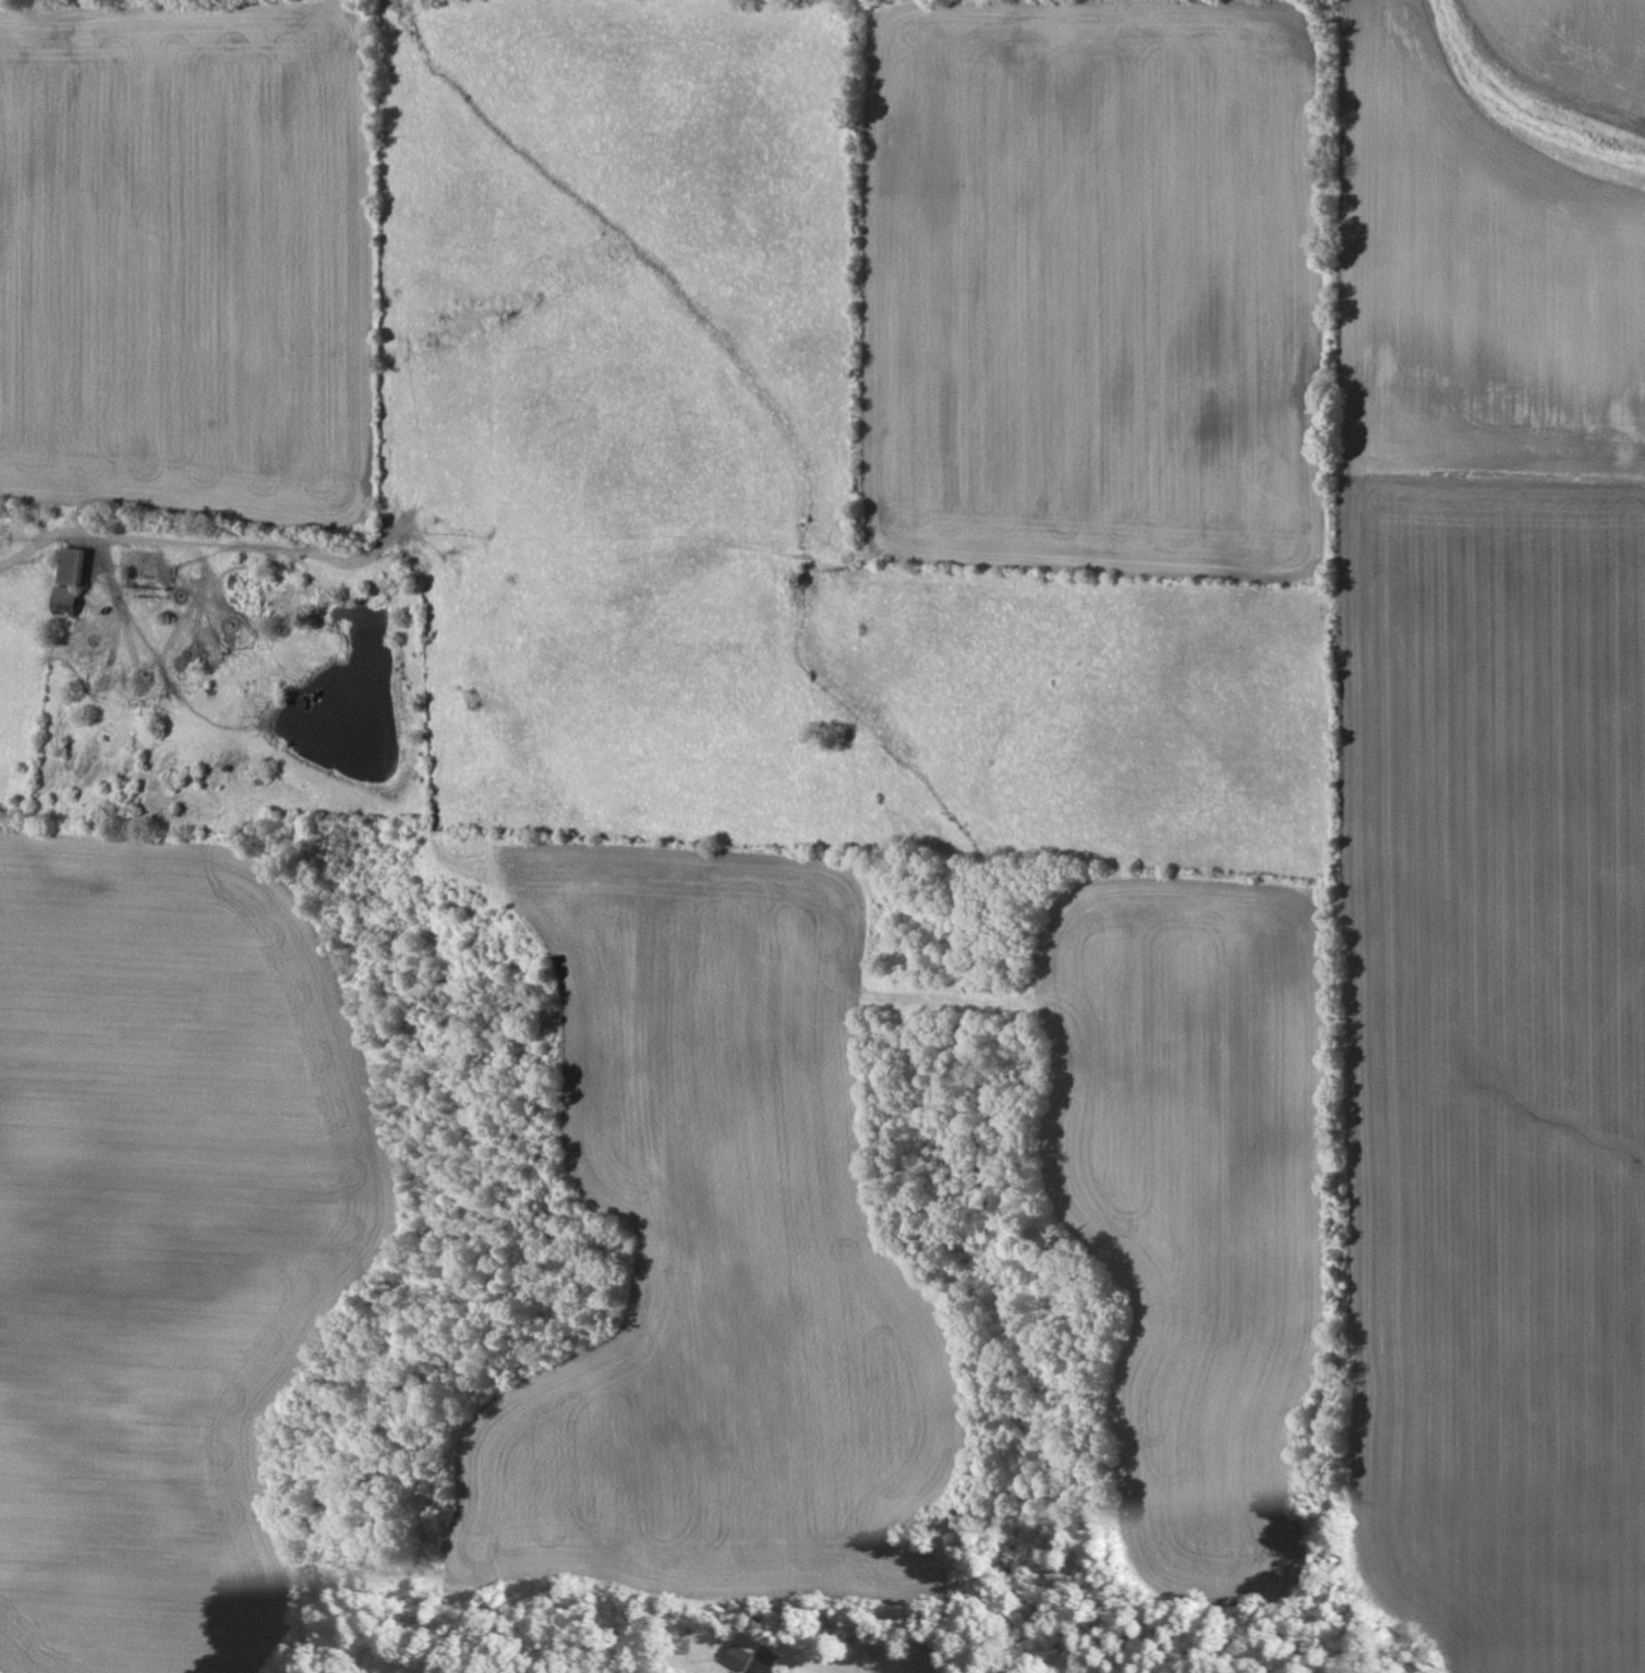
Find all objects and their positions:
building: (72, 566)
building: (65, 601)
road: (963, 1290)
building: (739, 1654)

